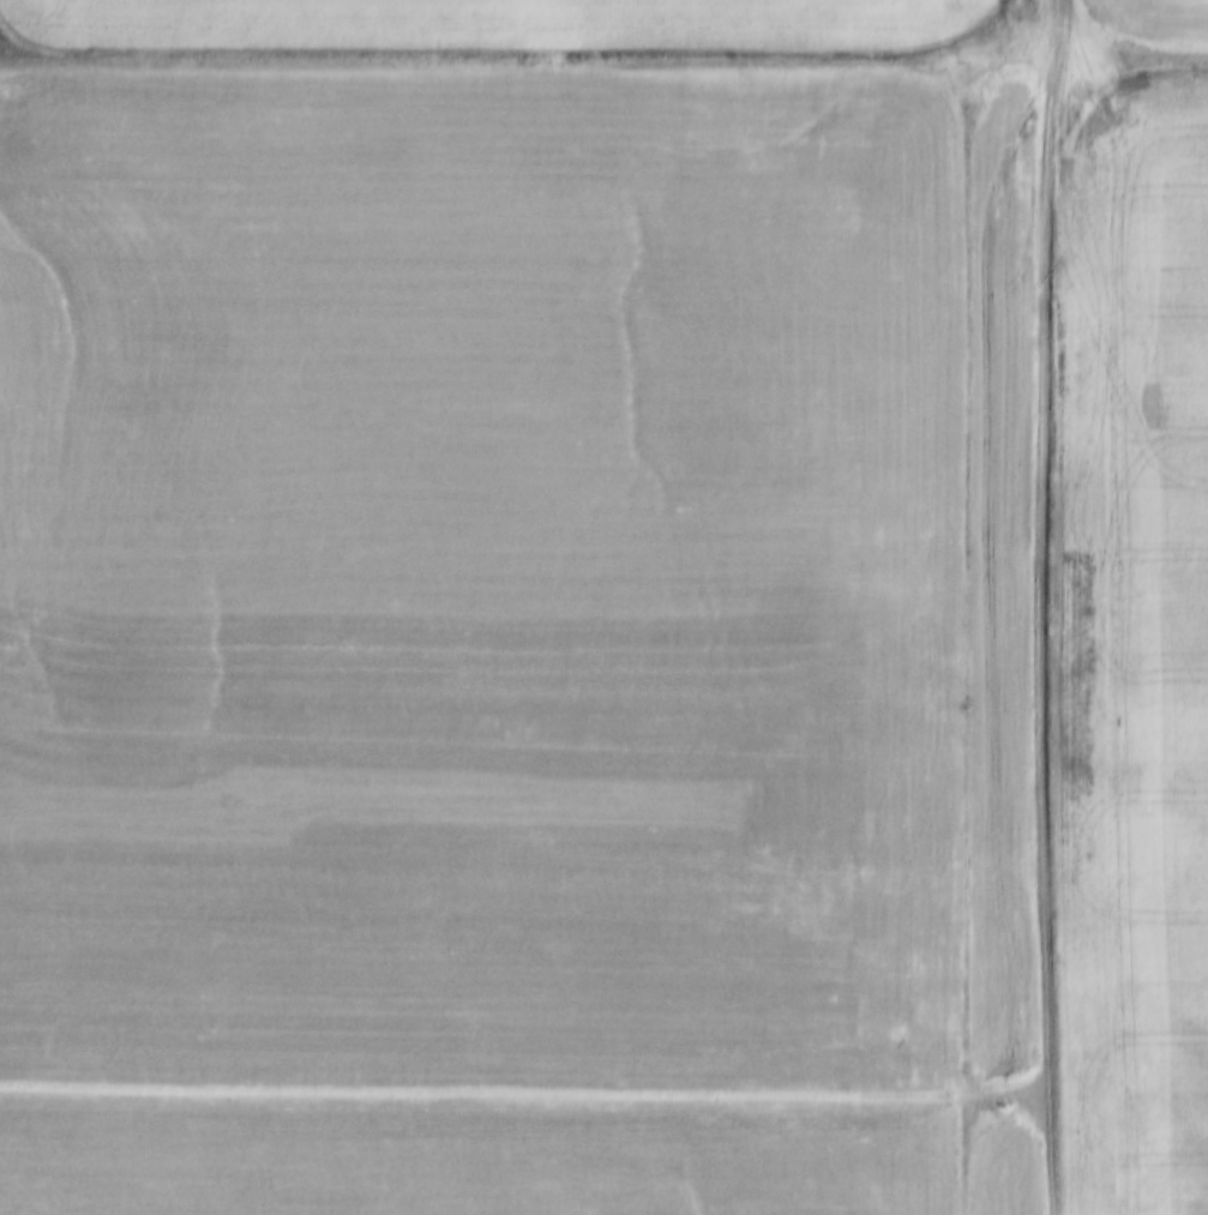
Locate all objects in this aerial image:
road: (1038, 607)

